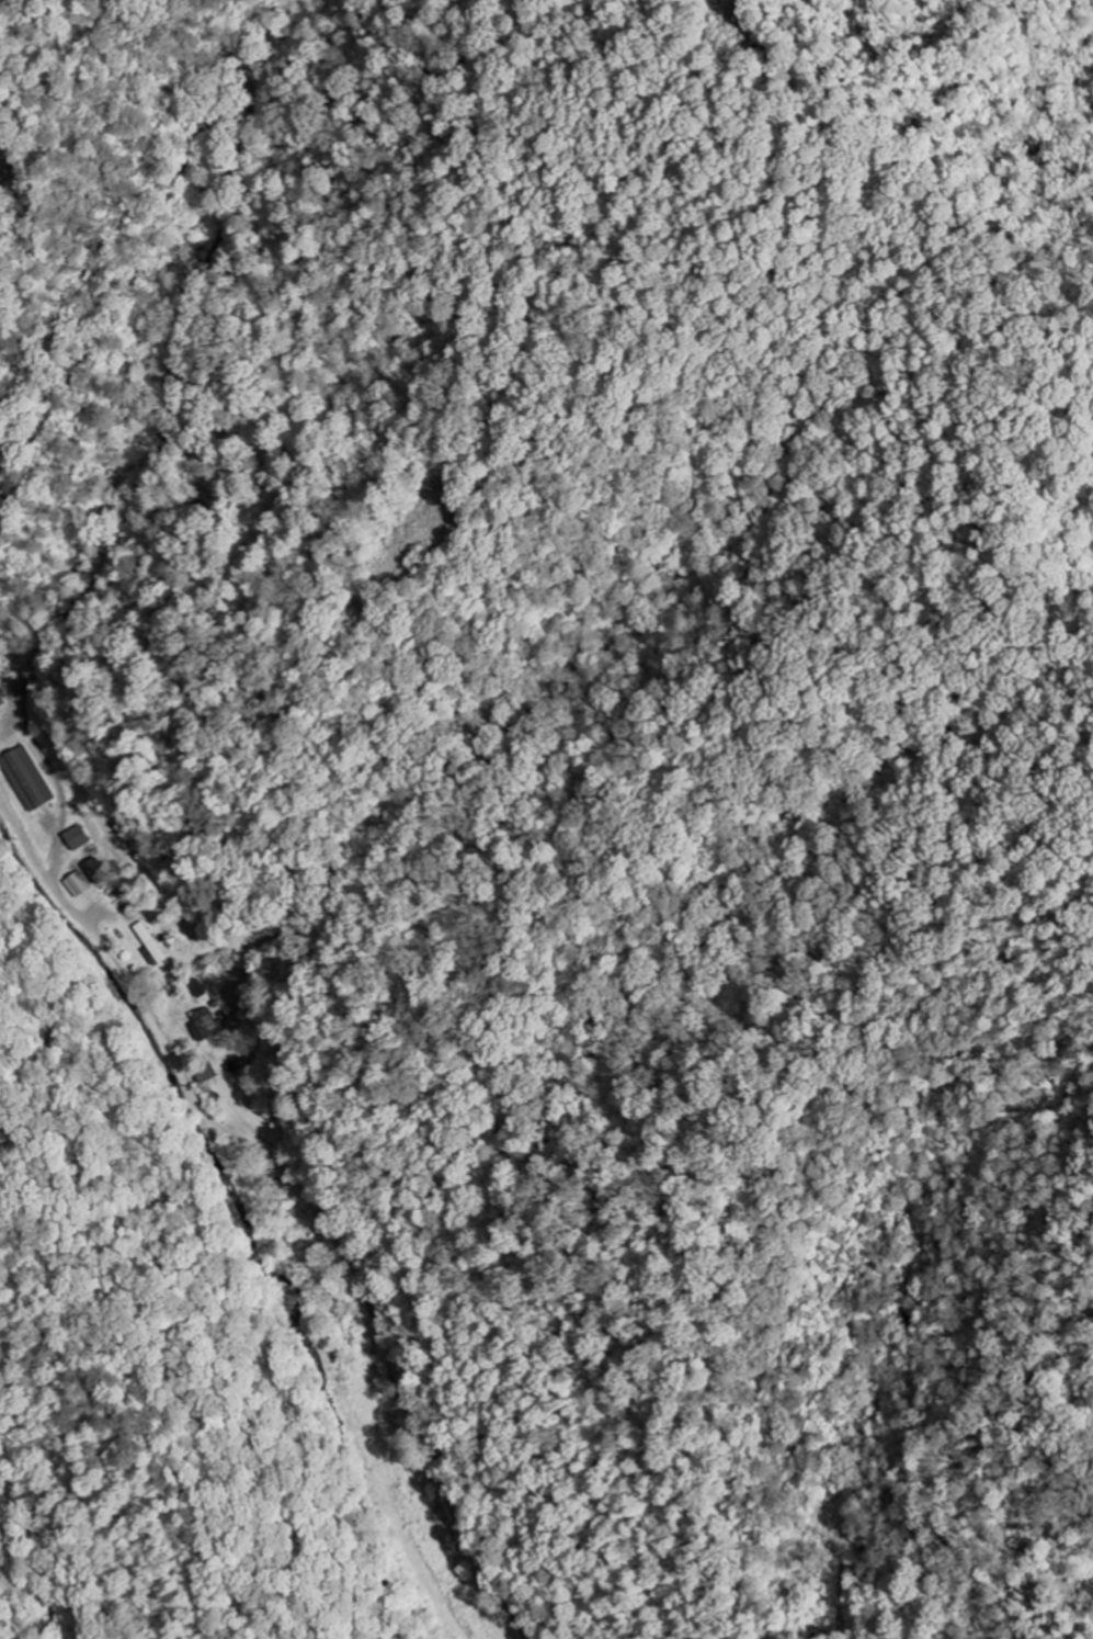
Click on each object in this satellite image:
building: (2, 700)
building: (29, 778)
building: (78, 837)
building: (78, 883)
building: (155, 945)
building: (205, 1026)
road: (301, 1190)

